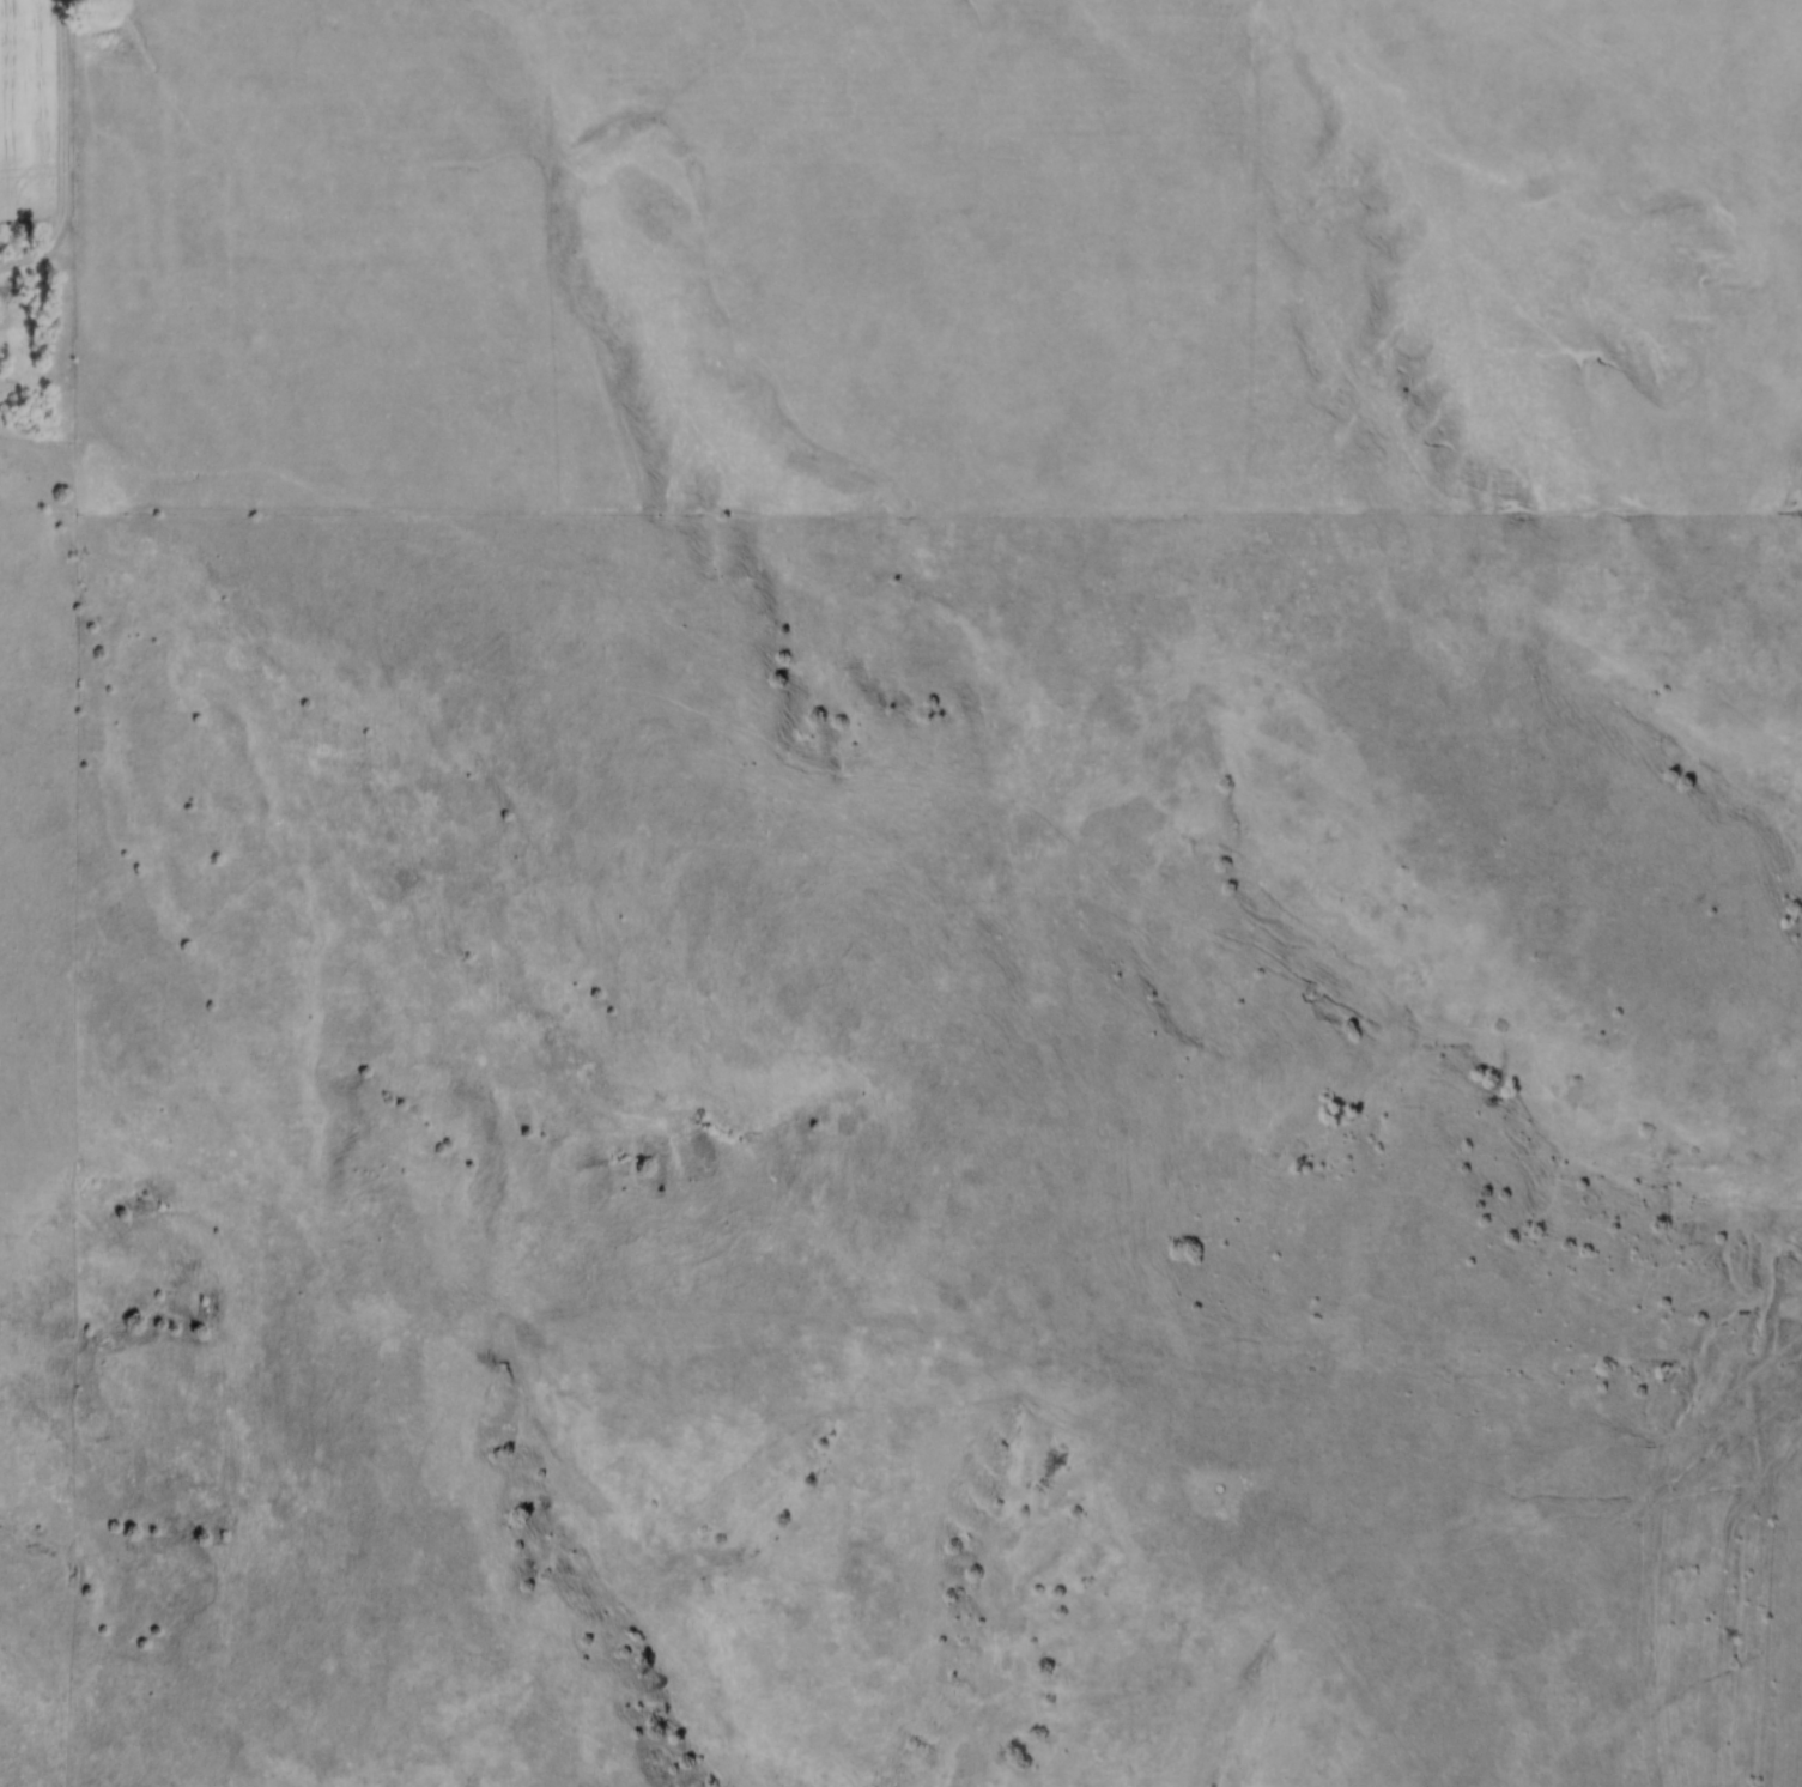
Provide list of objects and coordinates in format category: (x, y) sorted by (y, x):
road: (68, 150)

